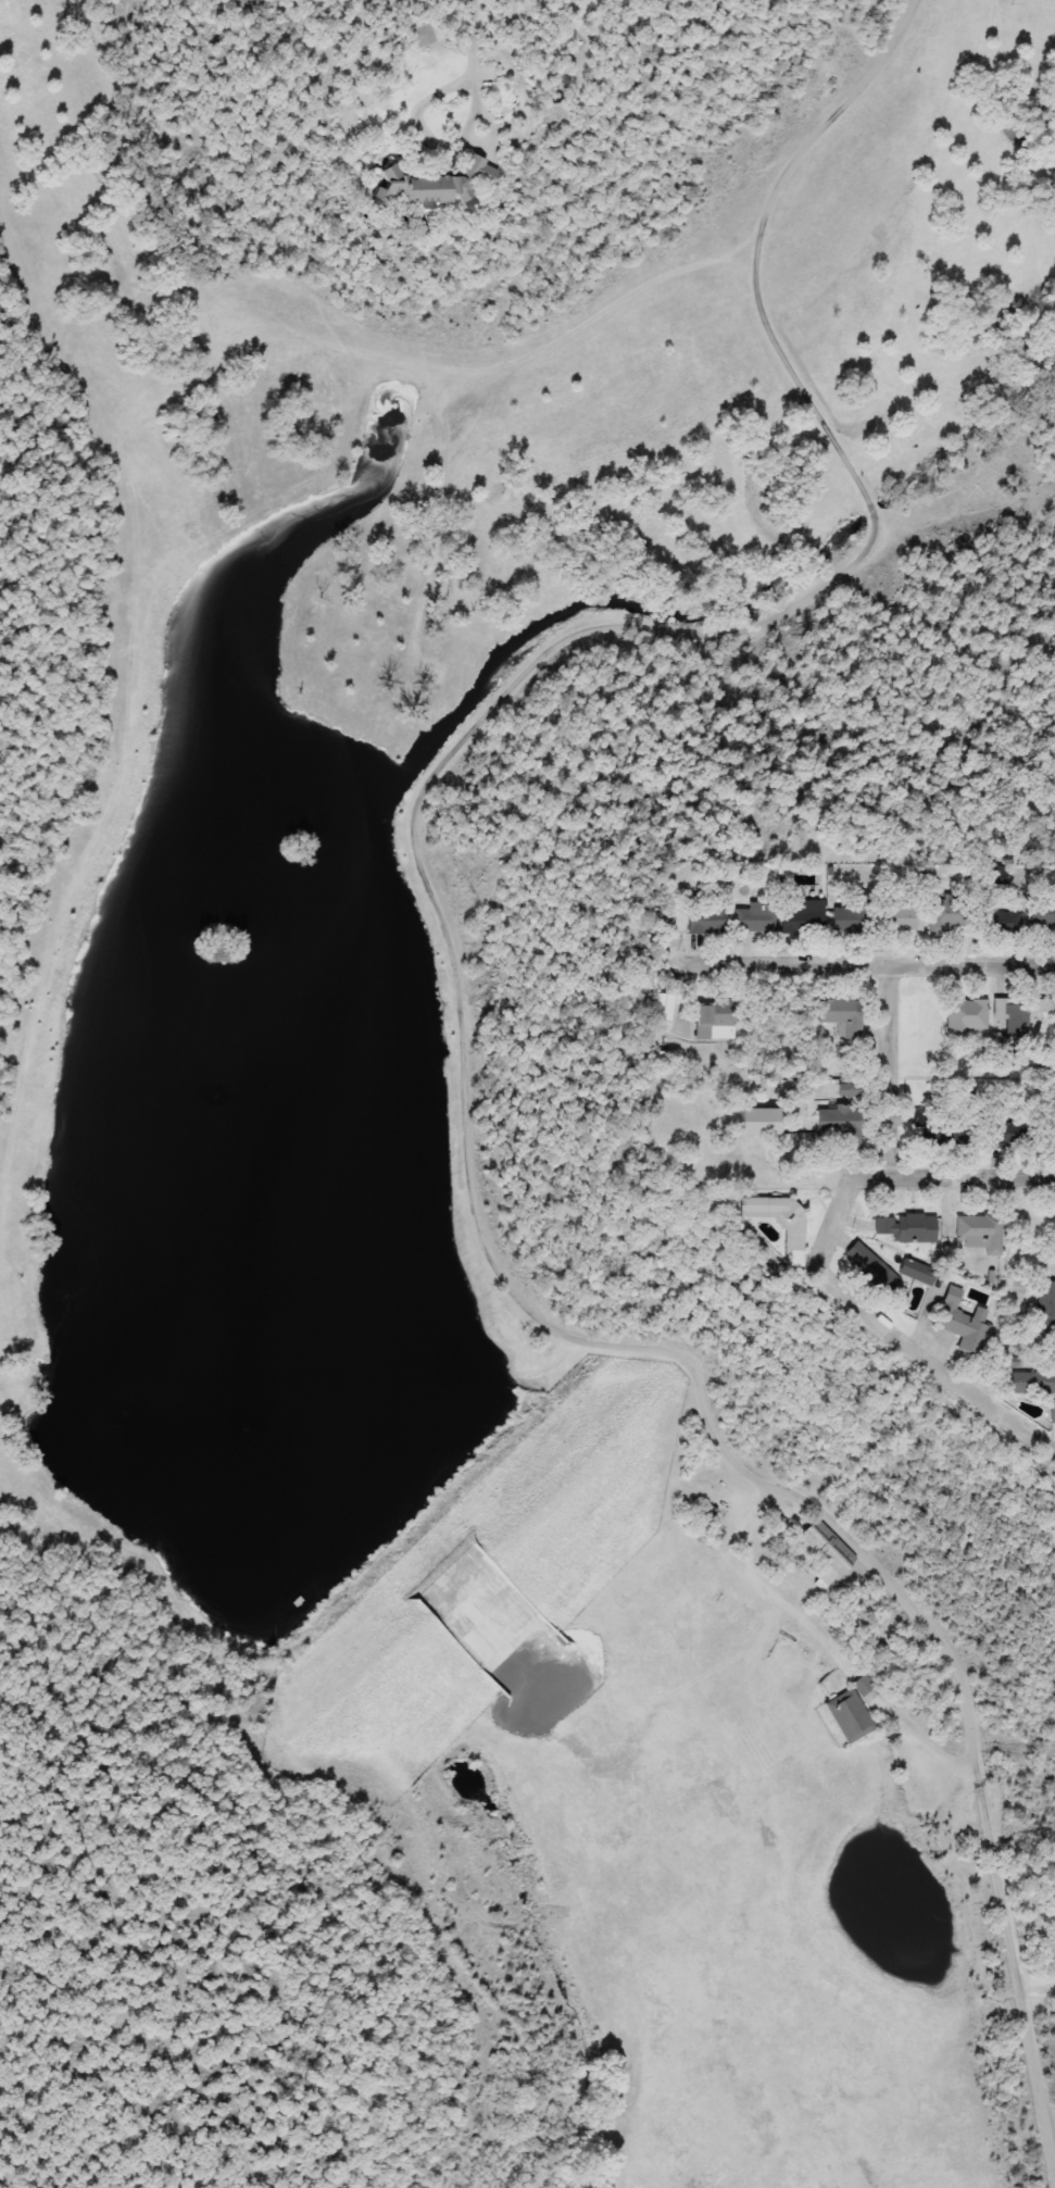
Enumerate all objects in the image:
building: (420, 36)
road: (479, 36)
road: (419, 112)
road: (821, 130)
building: (437, 185)
road: (804, 396)
building: (944, 915)
building: (1042, 916)
building: (803, 917)
building: (900, 917)
building: (754, 918)
building: (851, 918)
building: (706, 921)
building: (671, 922)
building: (1003, 924)
road: (875, 957)
building: (1043, 1007)
building: (664, 1008)
building: (841, 1016)
building: (1012, 1016)
building: (964, 1018)
building: (715, 1022)
road: (900, 1062)
building: (849, 1090)
building: (763, 1123)
building: (841, 1127)
building: (938, 1130)
building: (1053, 1130)
building: (1010, 1137)
road: (979, 1164)
building: (780, 1221)
building: (907, 1228)
building: (980, 1234)
building: (888, 1270)
road: (522, 1299)
building: (1045, 1311)
building: (962, 1318)
road: (867, 1324)
building: (1033, 1383)
building: (1053, 1414)
building: (824, 1561)
dam: (478, 1581)
building: (851, 1711)

